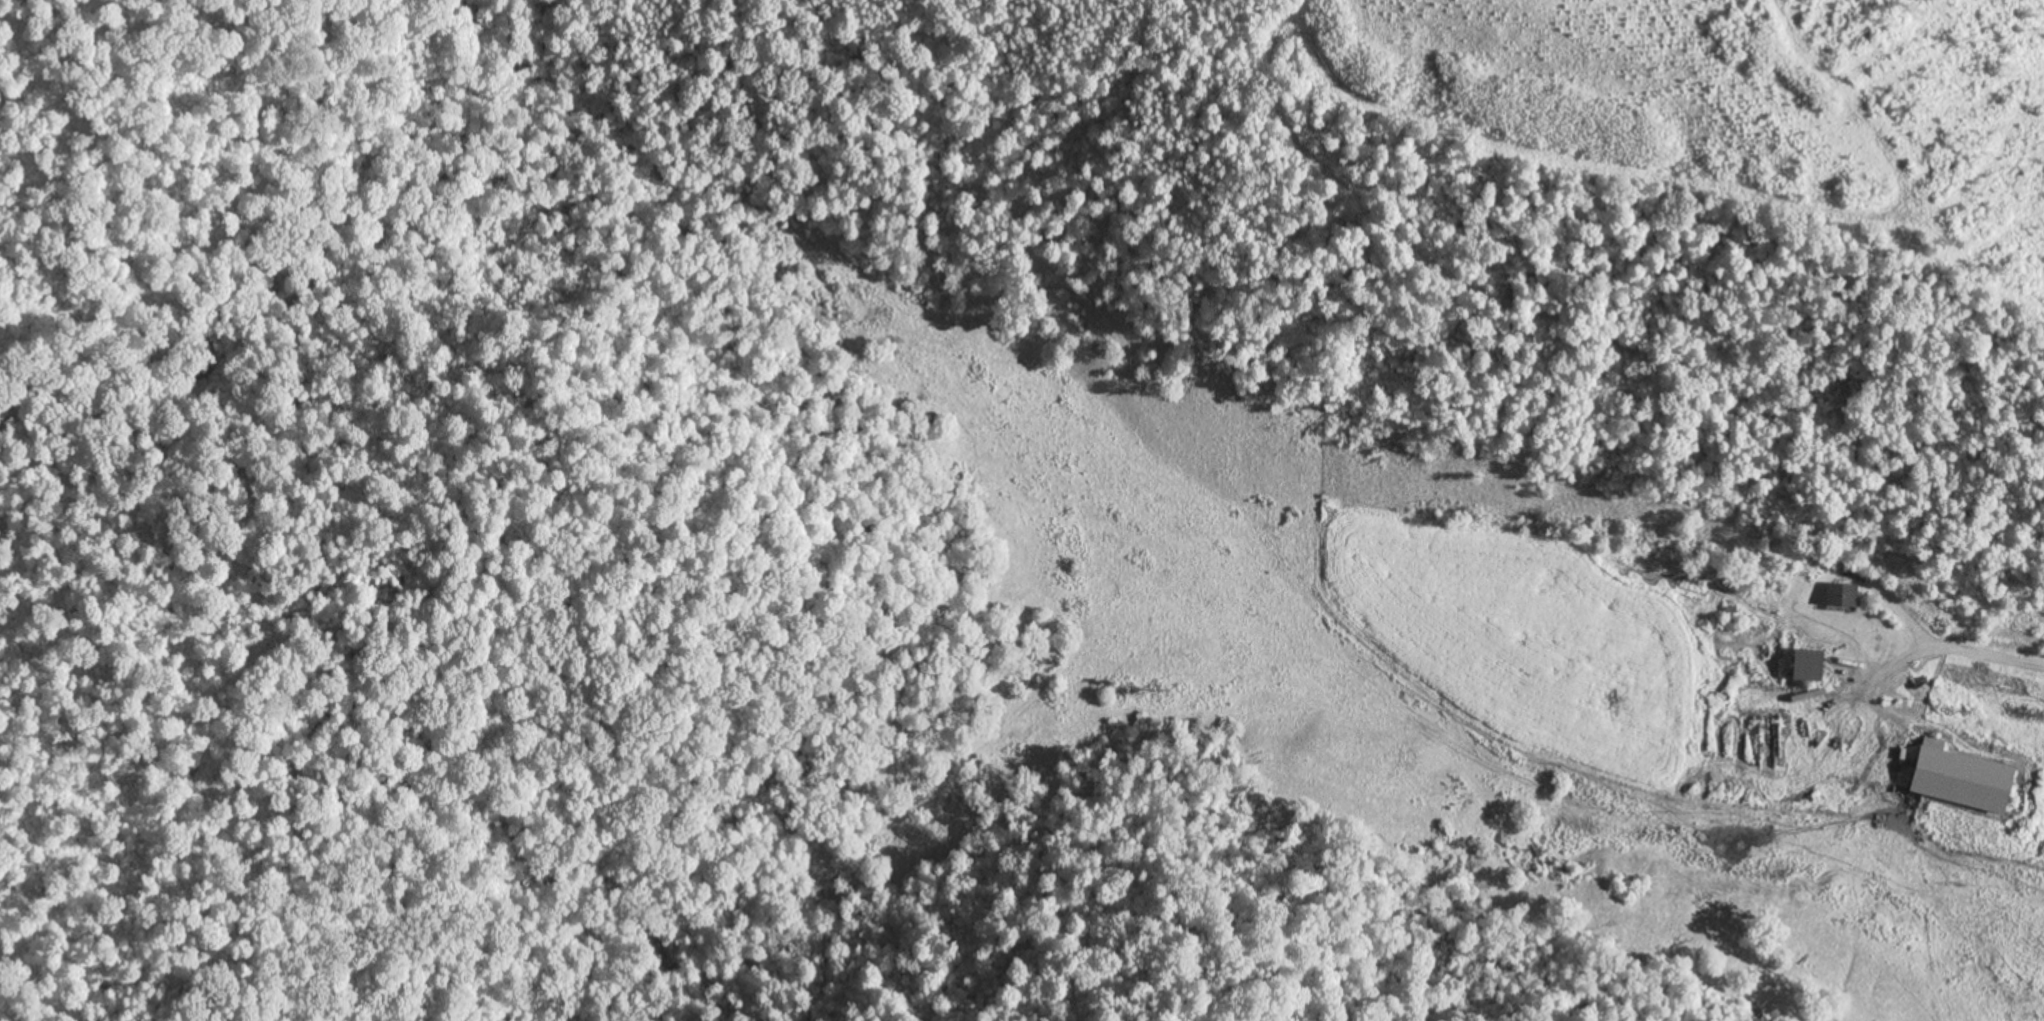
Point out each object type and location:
building: (1835, 597)
road: (1984, 655)
building: (1802, 667)
building: (1940, 772)

